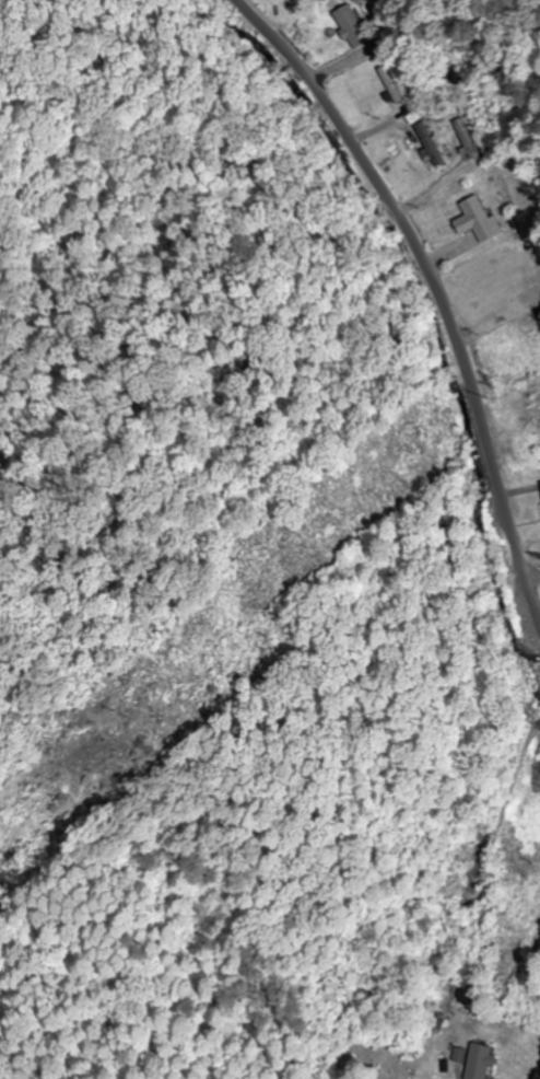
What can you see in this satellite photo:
building: (356, 0)
building: (350, 26)
building: (465, 136)
building: (429, 143)
building: (477, 220)
road: (436, 287)
building: (528, 297)
road: (533, 578)
building: (478, 1061)

